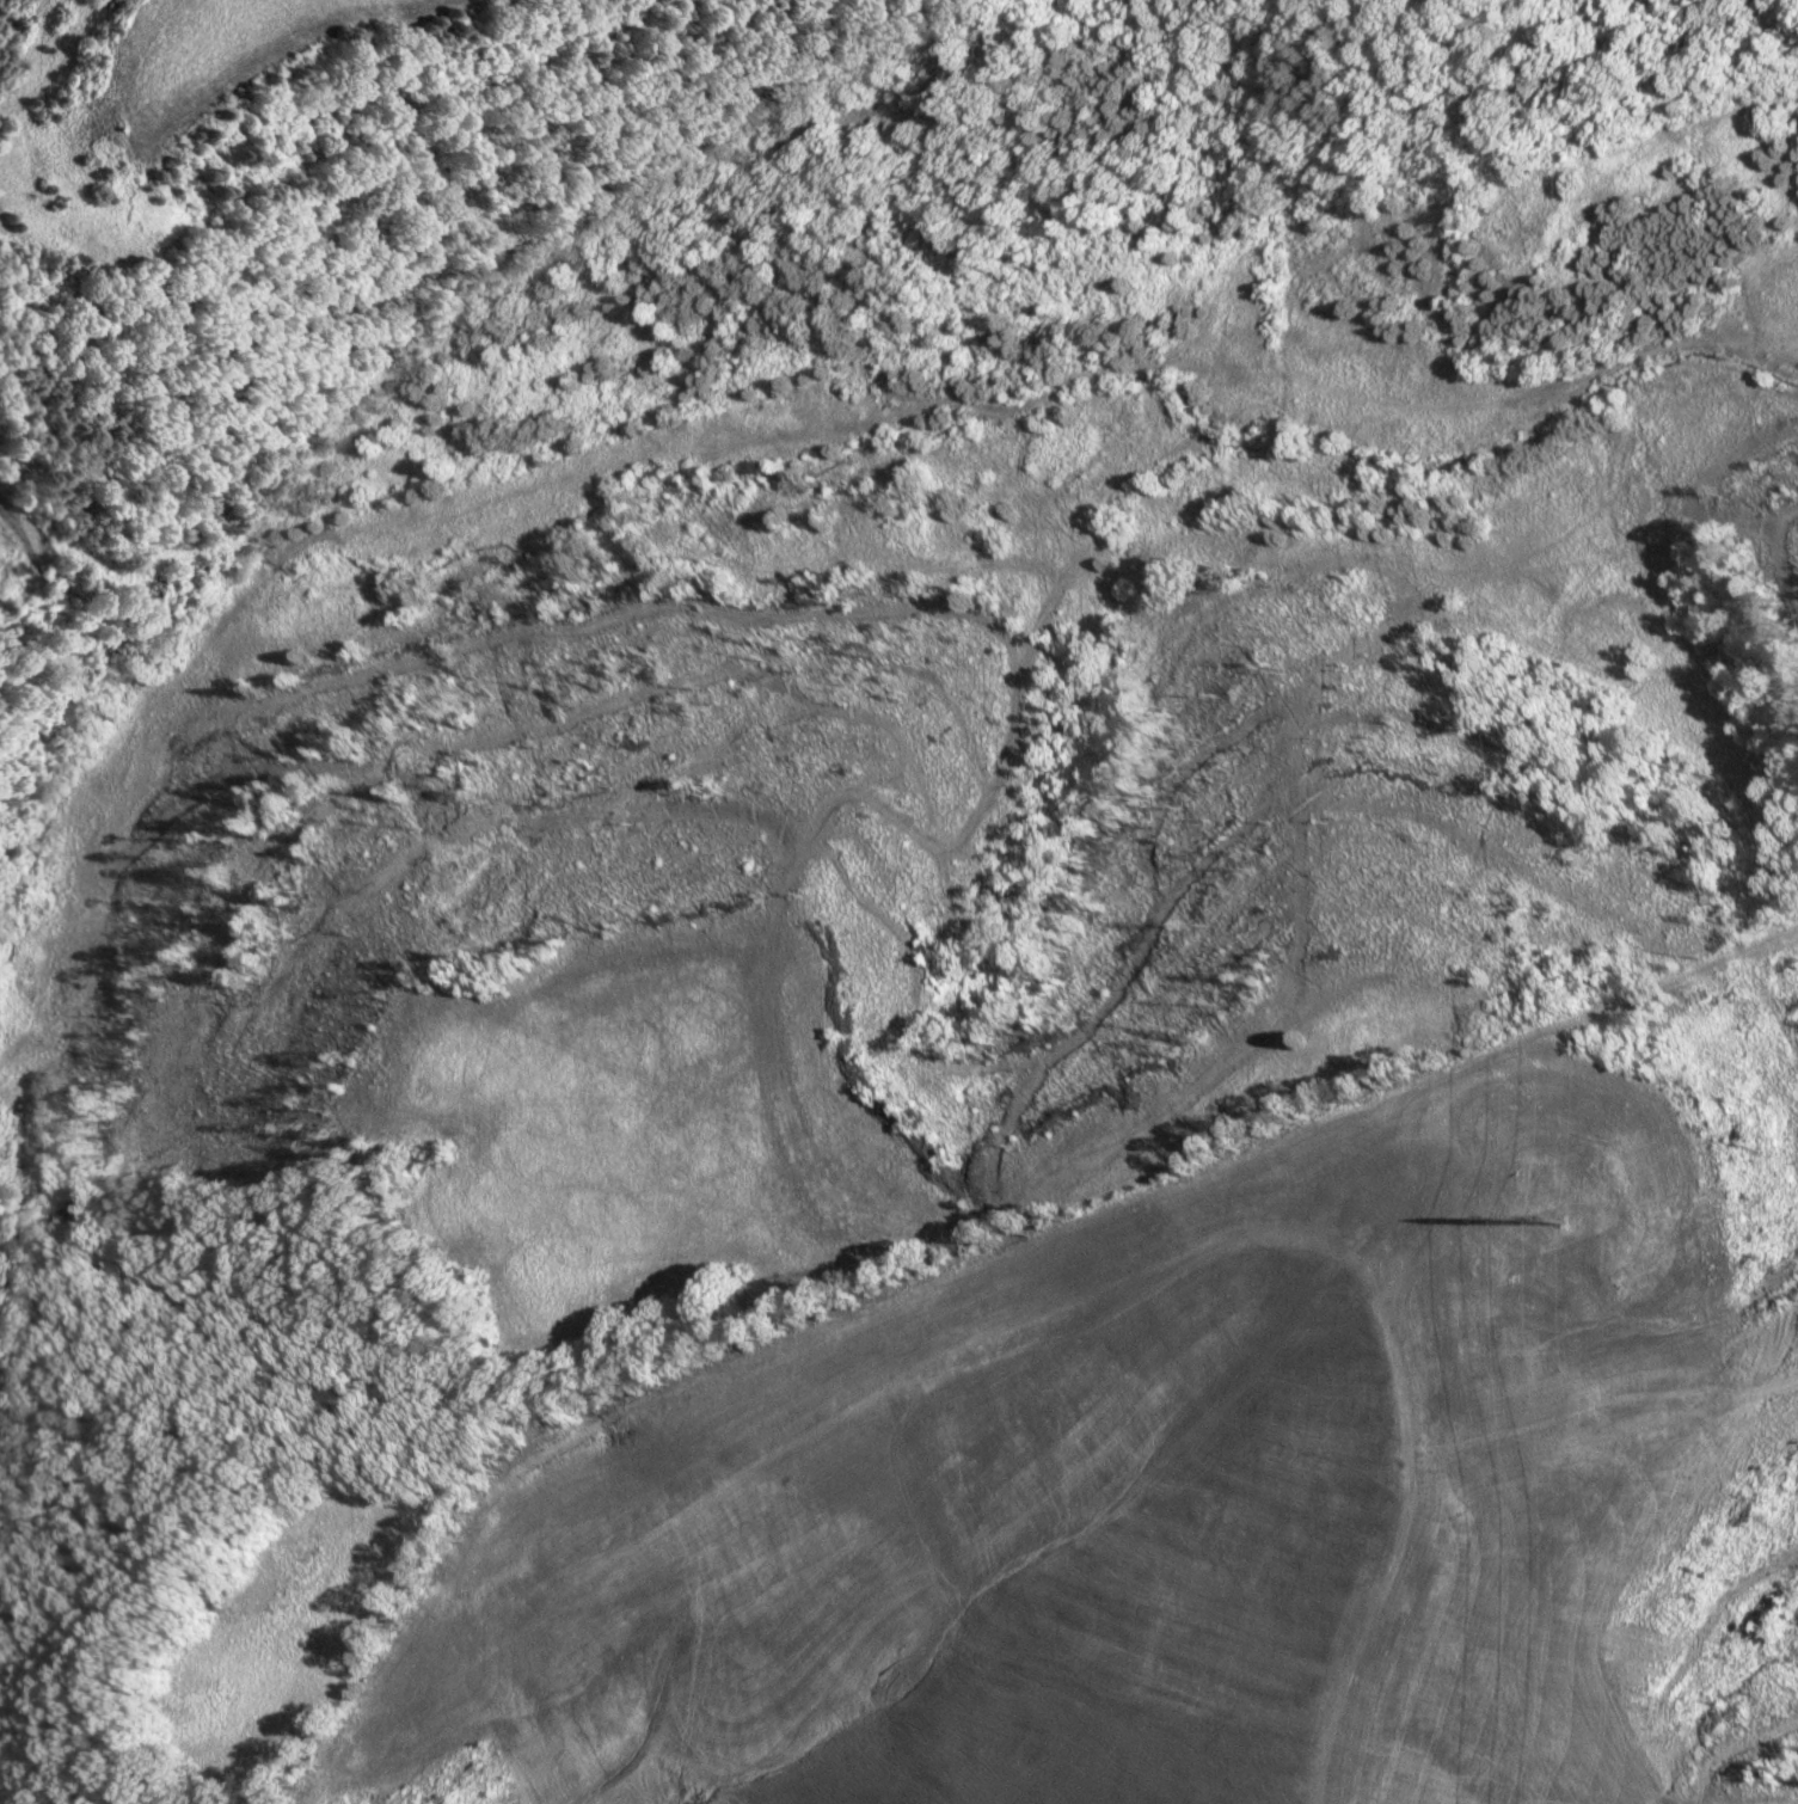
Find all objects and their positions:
power tower: (1569, 1221)

